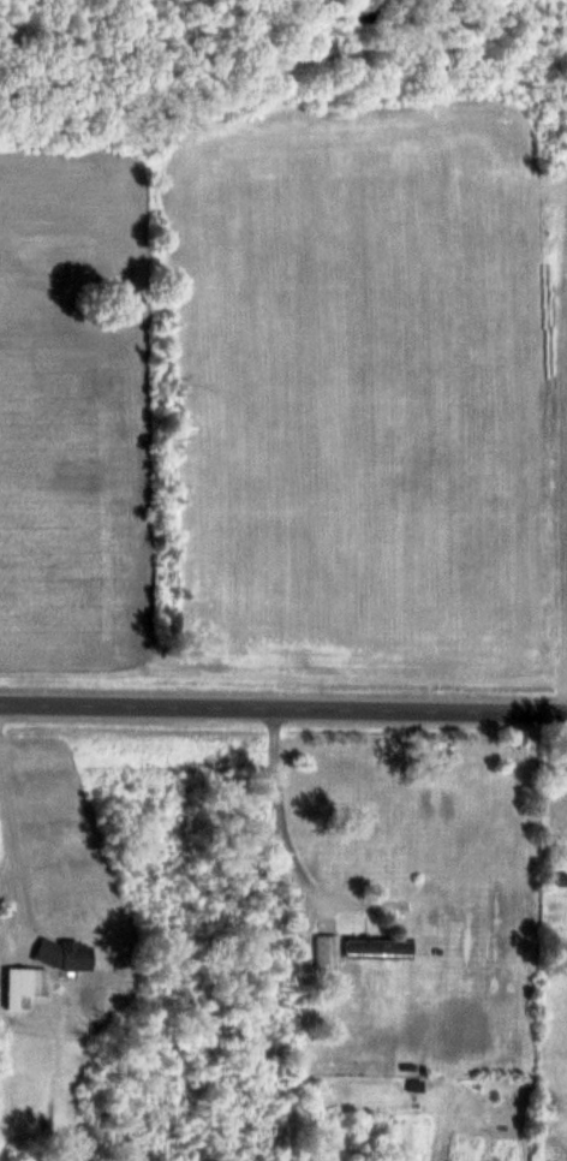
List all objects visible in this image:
road: (283, 710)
road: (276, 811)
road: (12, 855)
building: (380, 947)
building: (329, 952)
building: (67, 954)
building: (26, 987)

